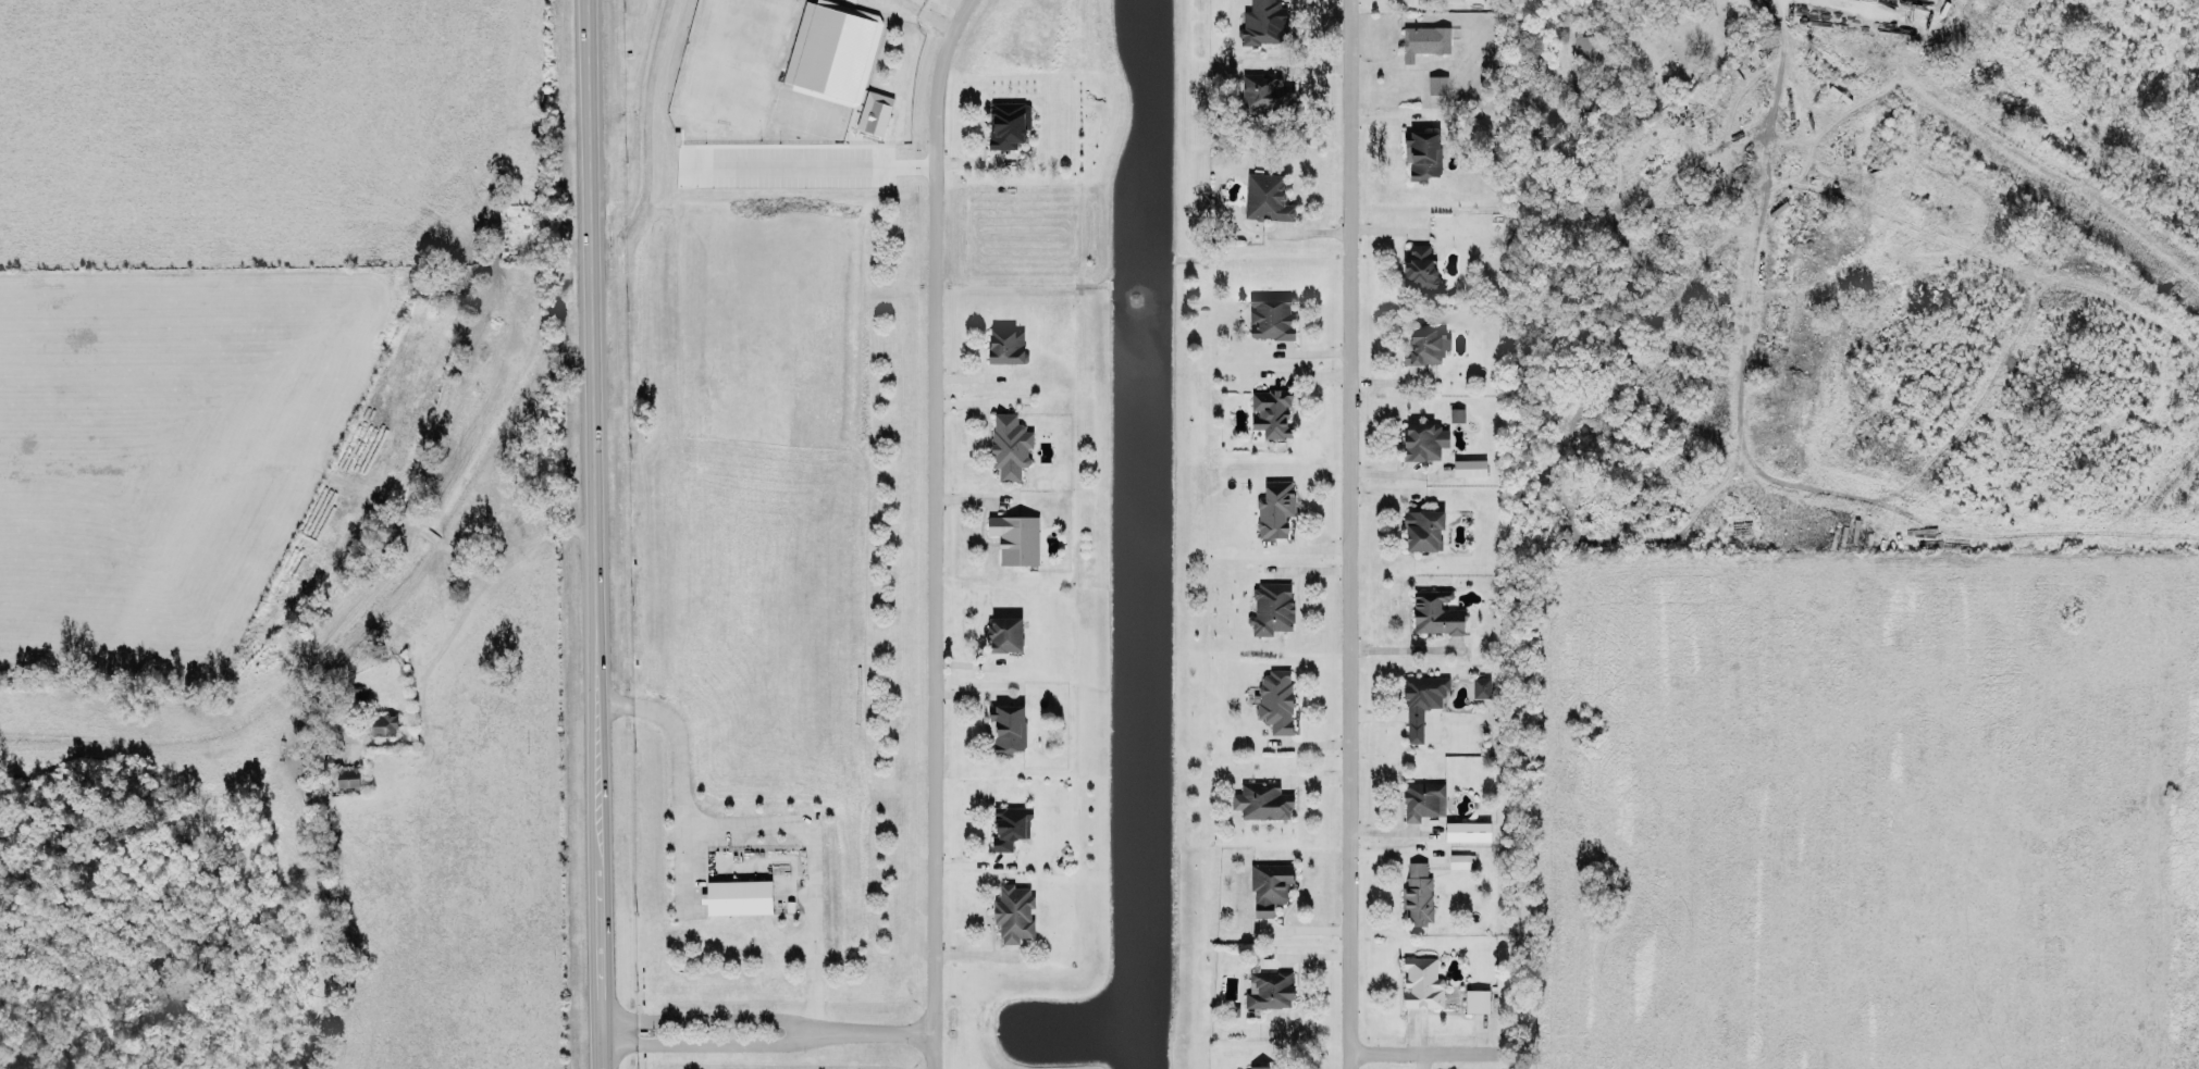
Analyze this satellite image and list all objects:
building: (1264, 22)
building: (1424, 39)
road: (1615, 47)
building: (1584, 65)
building: (1437, 83)
building: (1267, 90)
building: (875, 111)
building: (1008, 122)
building: (1422, 152)
road: (811, 163)
building: (1267, 196)
building: (1419, 264)
building: (1271, 316)
building: (1006, 344)
building: (1425, 344)
road: (593, 353)
building: (1271, 410)
building: (1457, 413)
building: (1423, 438)
building: (1010, 444)
building: (1469, 465)
building: (1275, 507)
road: (932, 508)
building: (1423, 527)
road: (1352, 534)
building: (1016, 536)
road: (479, 591)
building: (1272, 606)
building: (1435, 611)
building: (1005, 632)
road: (1404, 647)
building: (1481, 686)
building: (1421, 697)
building: (1276, 699)
road: (2159, 722)
building: (1006, 726)
building: (1422, 794)
building: (1262, 799)
road: (754, 823)
building: (1010, 824)
building: (1467, 830)
building: (1461, 858)
road: (679, 866)
building: (1270, 885)
road: (601, 887)
building: (738, 892)
building: (1419, 892)
building: (1014, 911)
building: (1421, 978)
building: (1269, 985)
building: (1477, 998)
road: (767, 1029)
road: (930, 1048)
road: (1420, 1052)
building: (1259, 1064)

